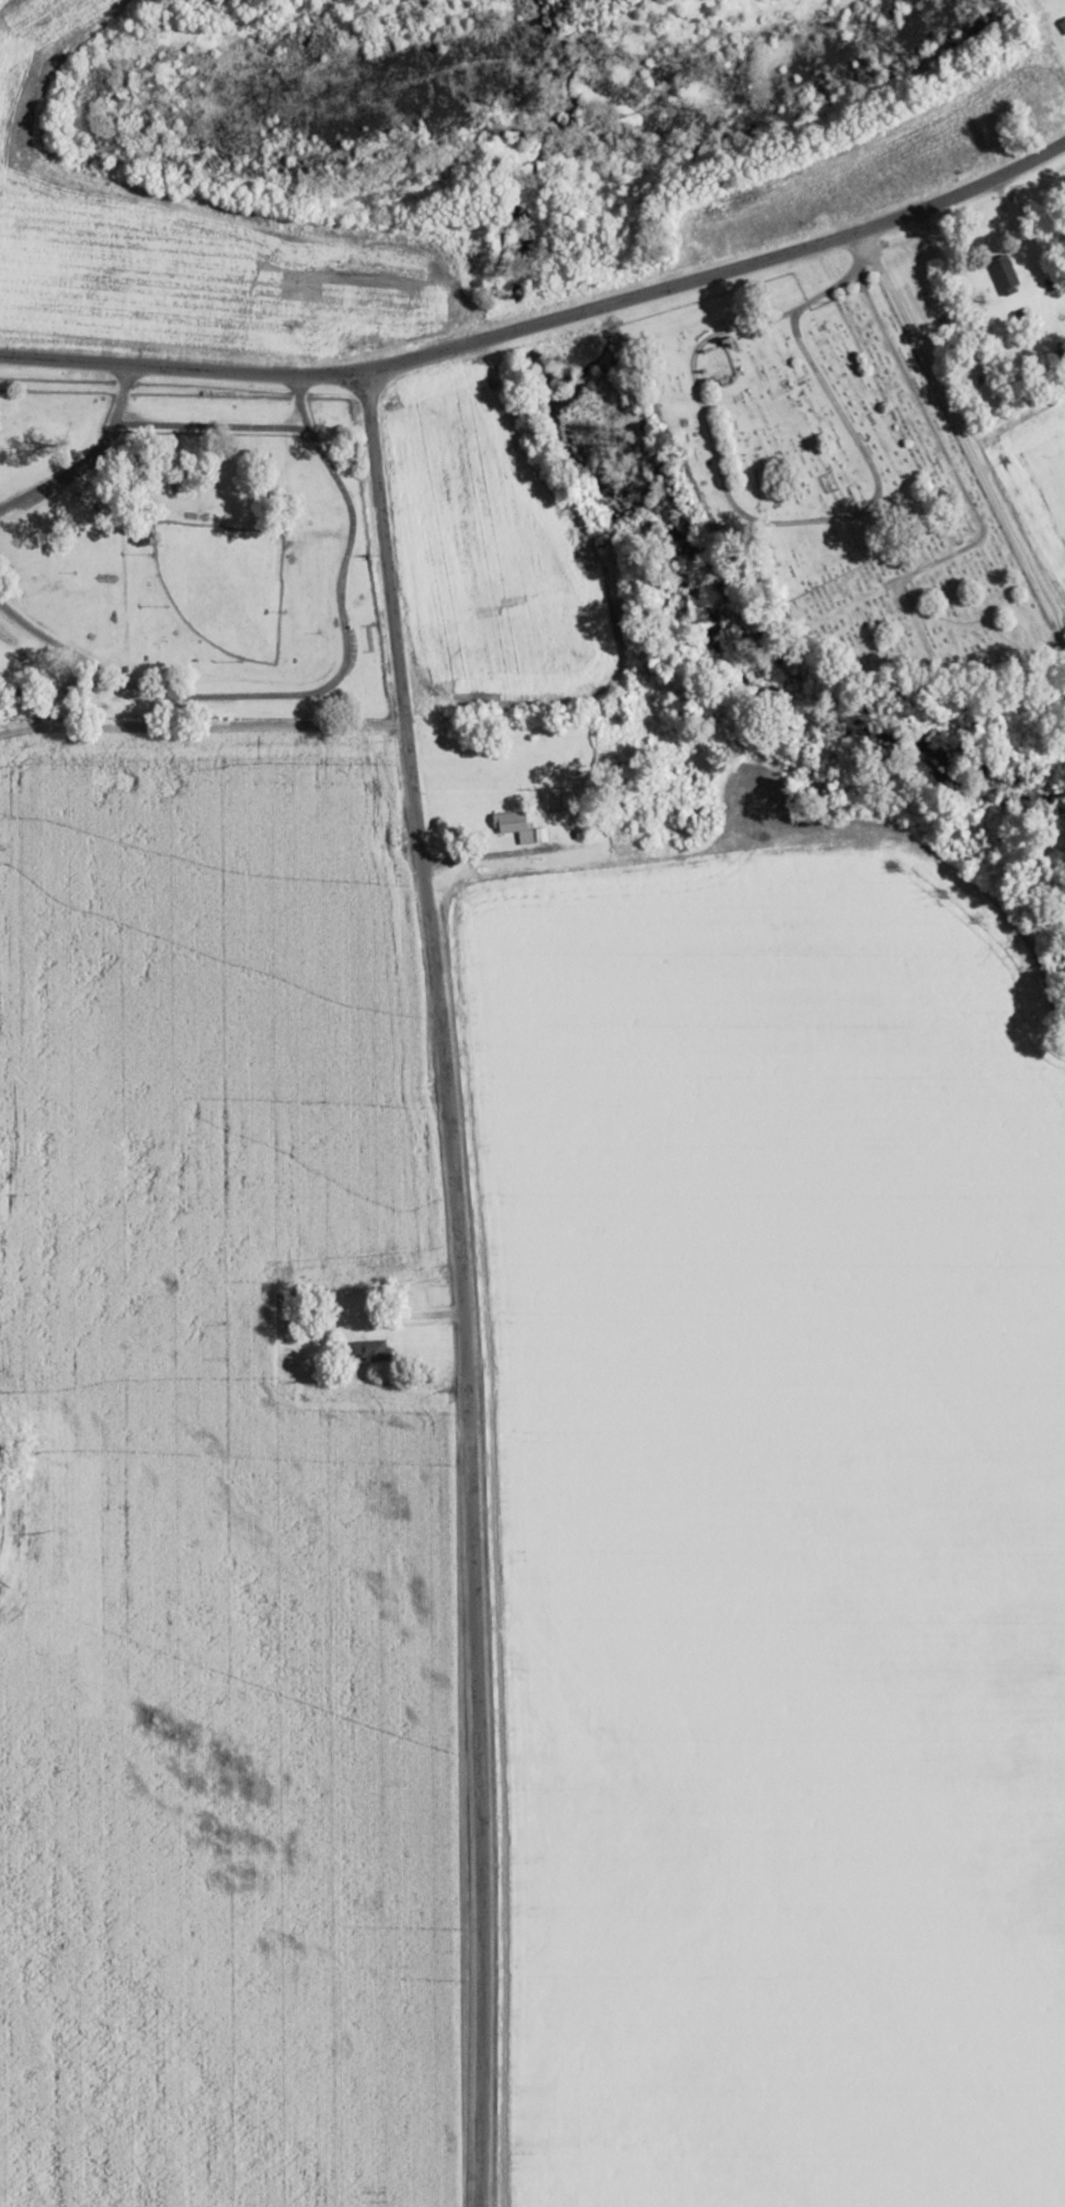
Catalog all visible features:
building: (1063, 23)
building: (1005, 273)
road: (719, 275)
road: (181, 368)
road: (962, 434)
road: (280, 510)
road: (193, 723)
building: (520, 826)
road: (456, 1285)

